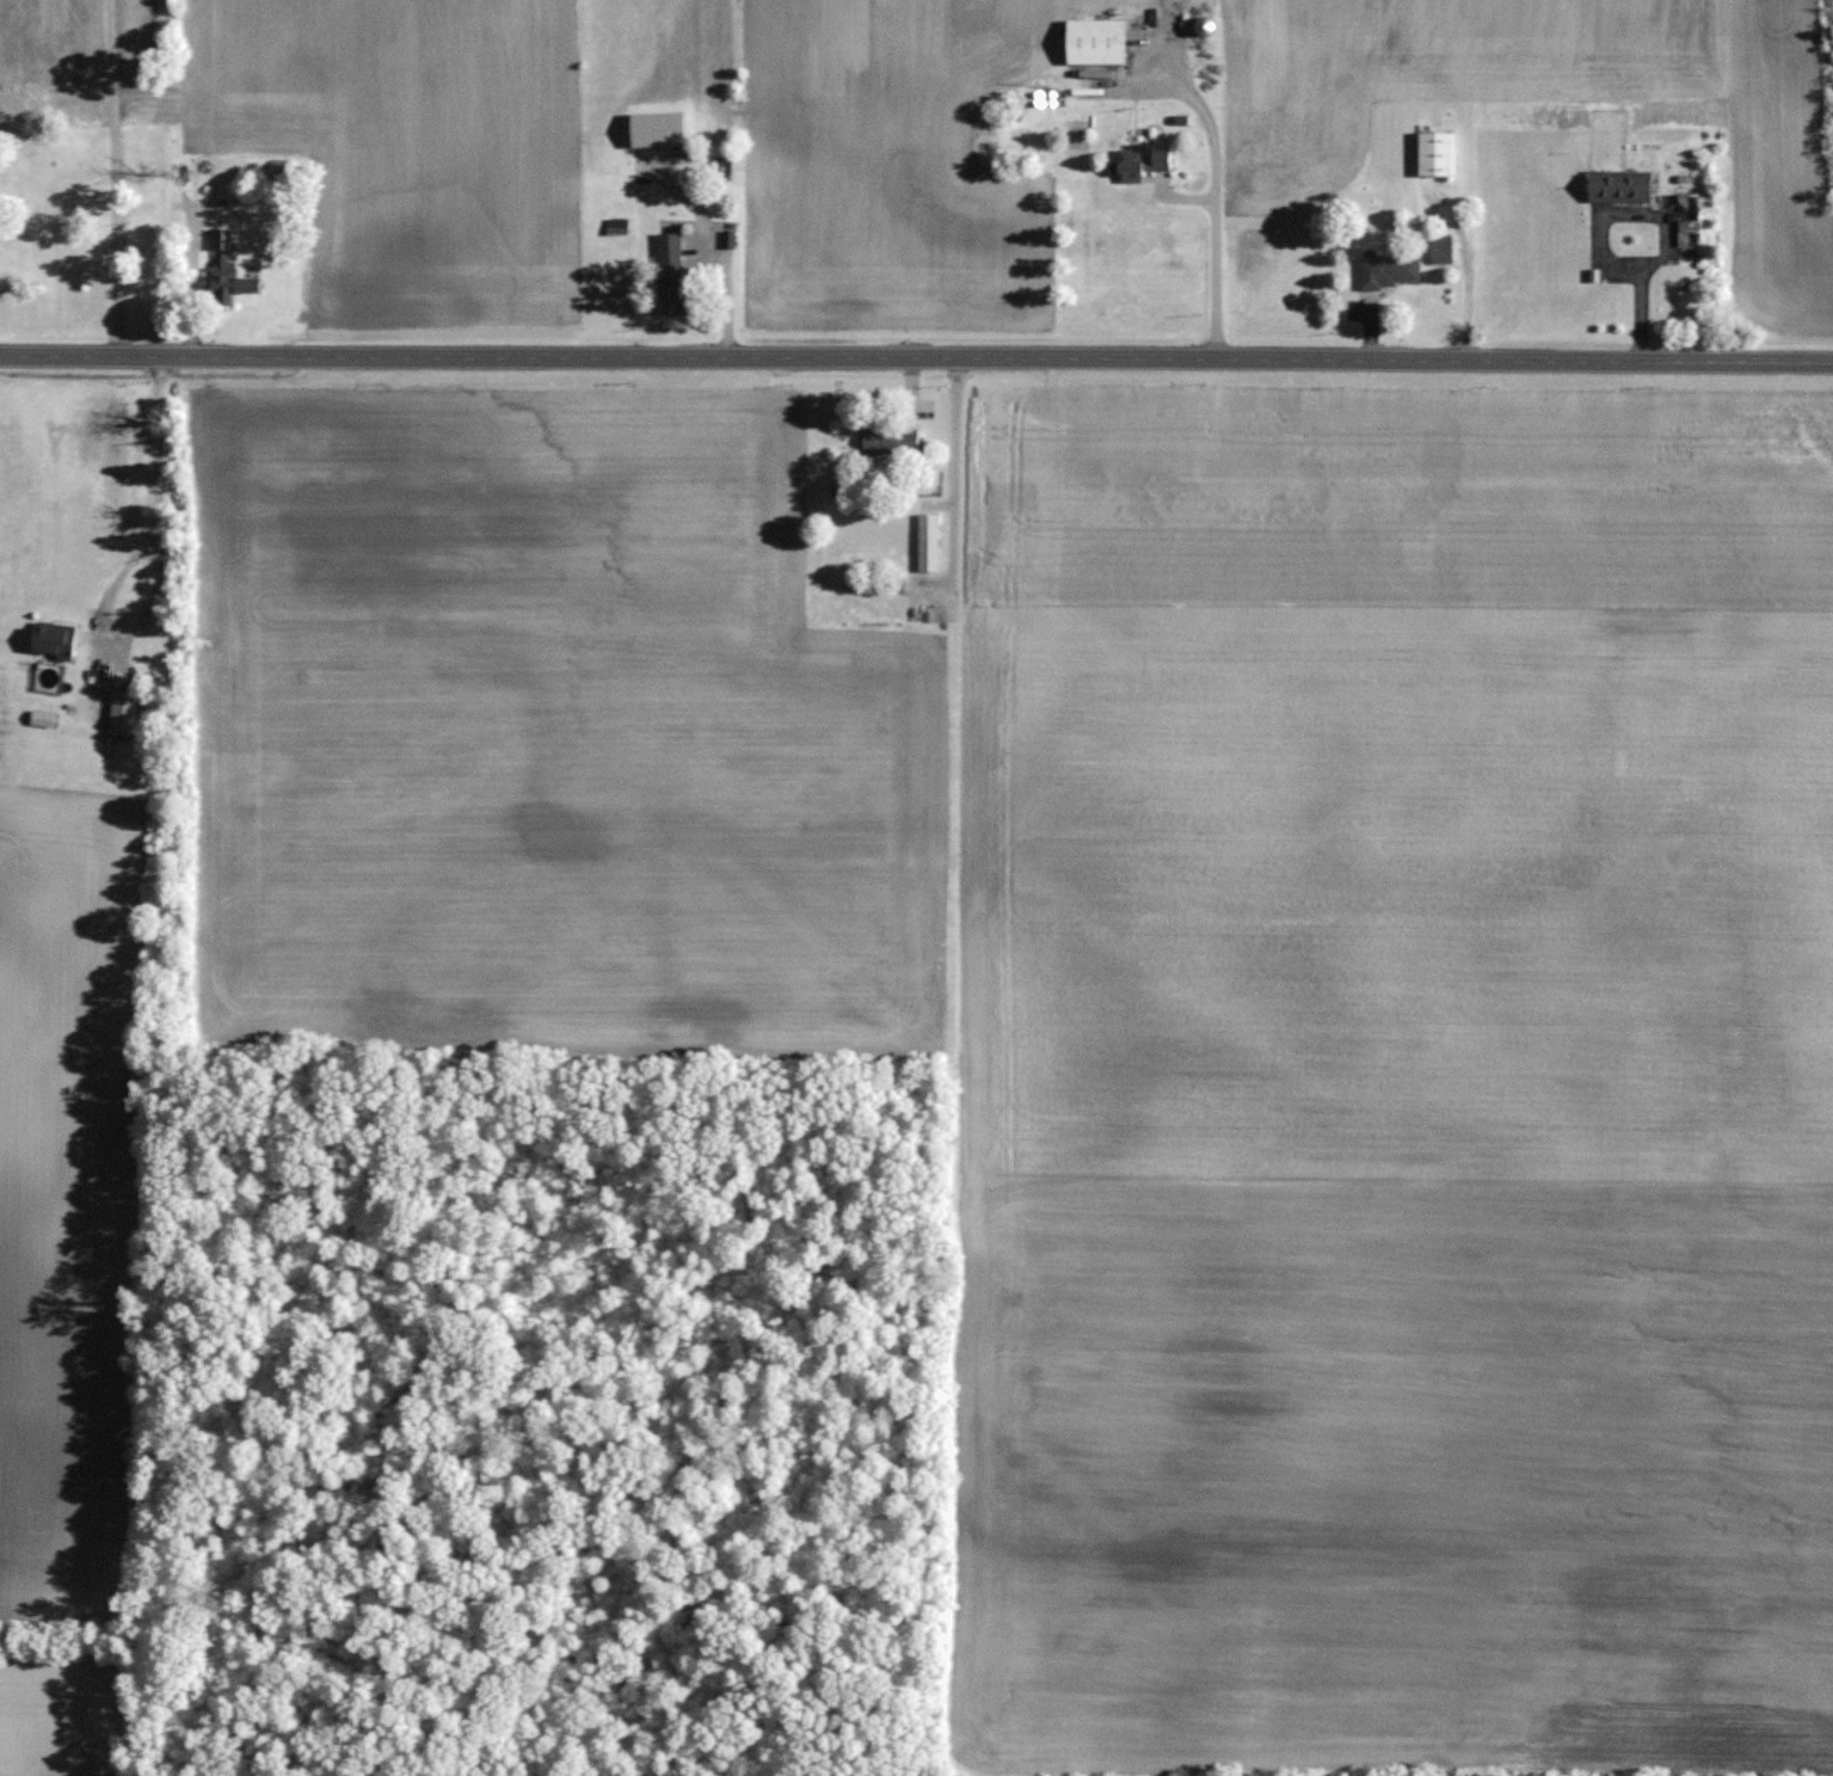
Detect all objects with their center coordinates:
building: (1202, 26)
building: (1093, 41)
building: (1434, 153)
building: (1138, 160)
building: (277, 167)
road: (117, 177)
building: (1618, 185)
road: (1212, 208)
building: (1686, 219)
road: (1606, 236)
building: (1439, 248)
building: (224, 269)
building: (1385, 270)
building: (669, 272)
road: (916, 356)
building: (888, 442)
building: (927, 541)
road: (158, 574)
building: (50, 638)
building: (121, 711)
building: (41, 717)

